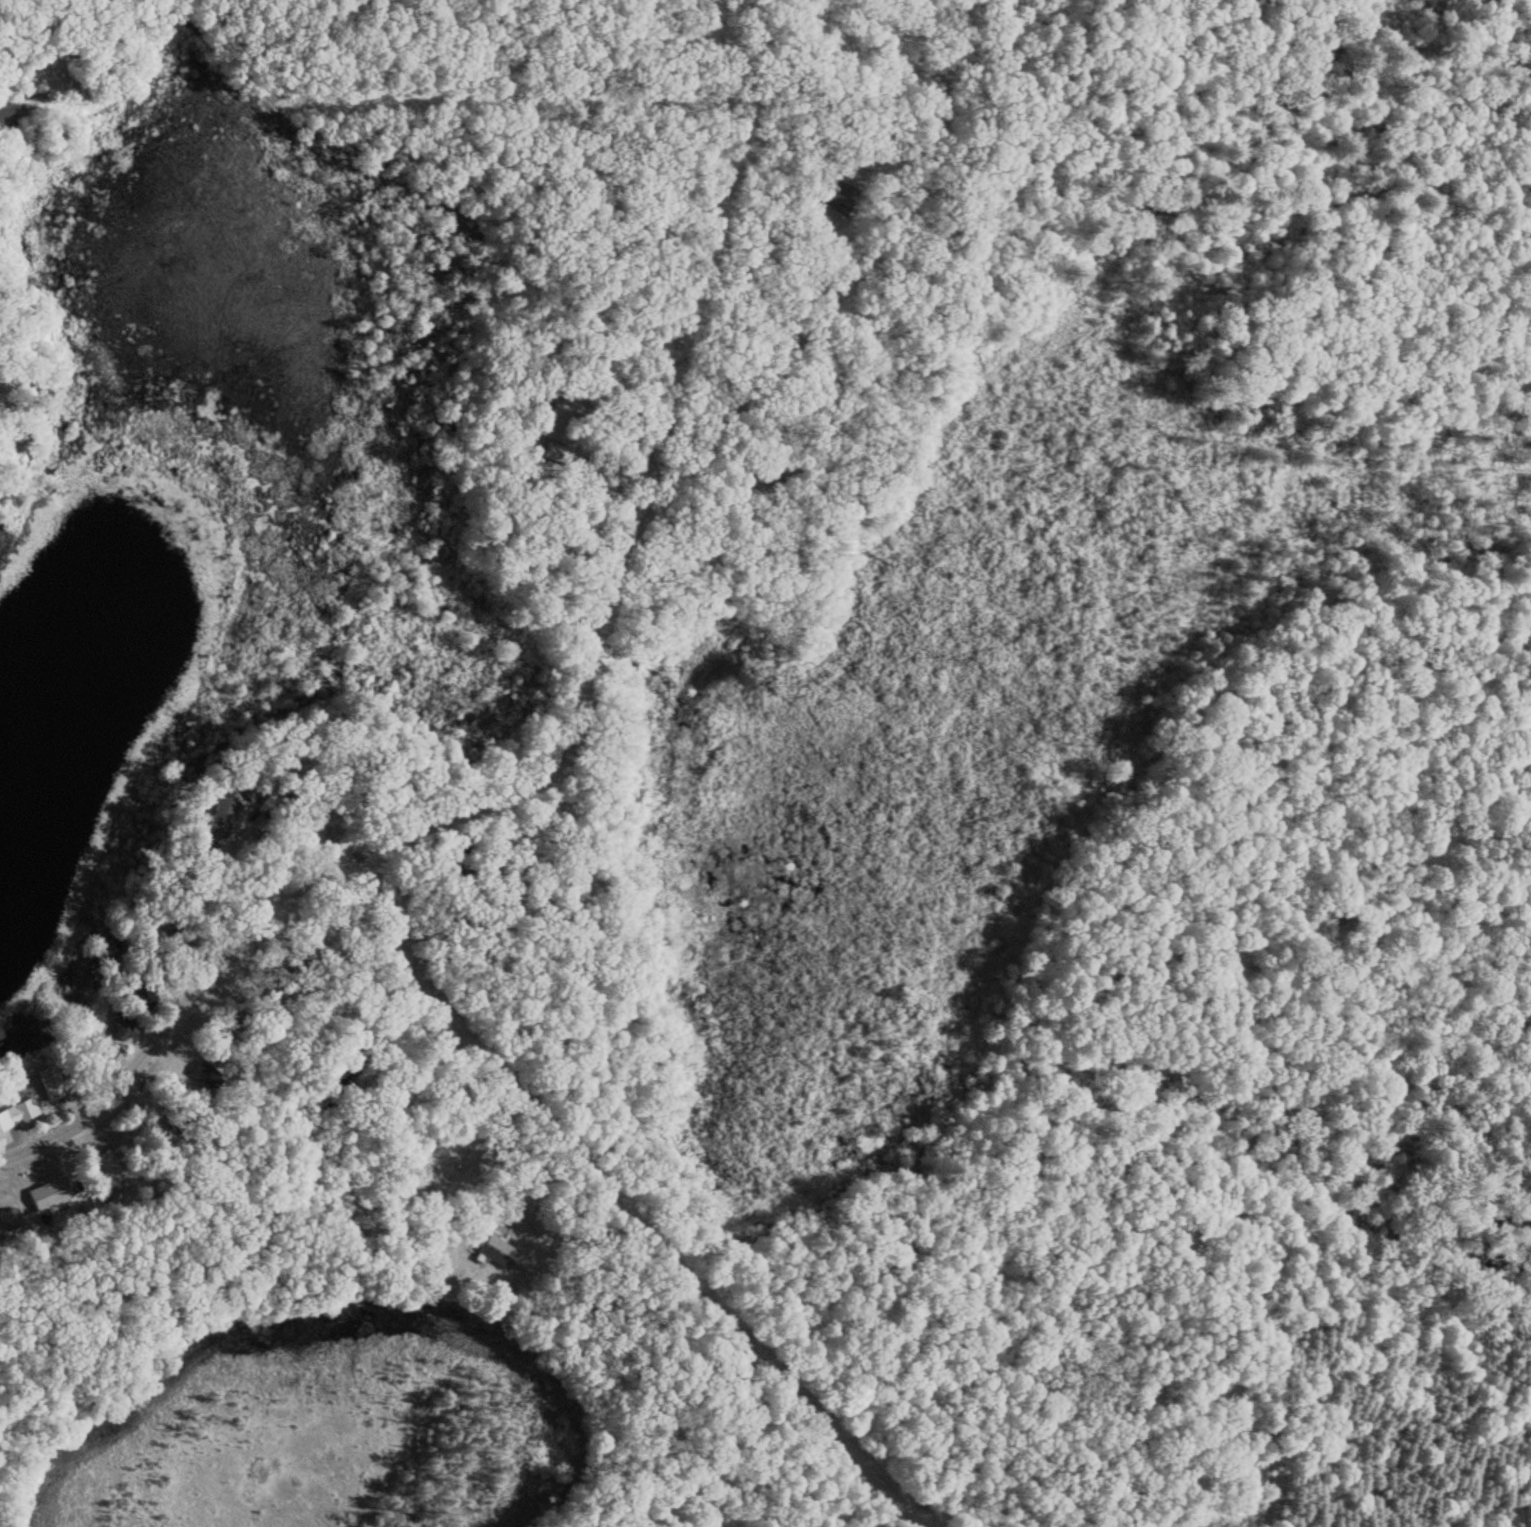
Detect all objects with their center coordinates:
road: (13, 12)
road: (655, 467)
road: (176, 975)
road: (654, 1223)
building: (496, 1251)

